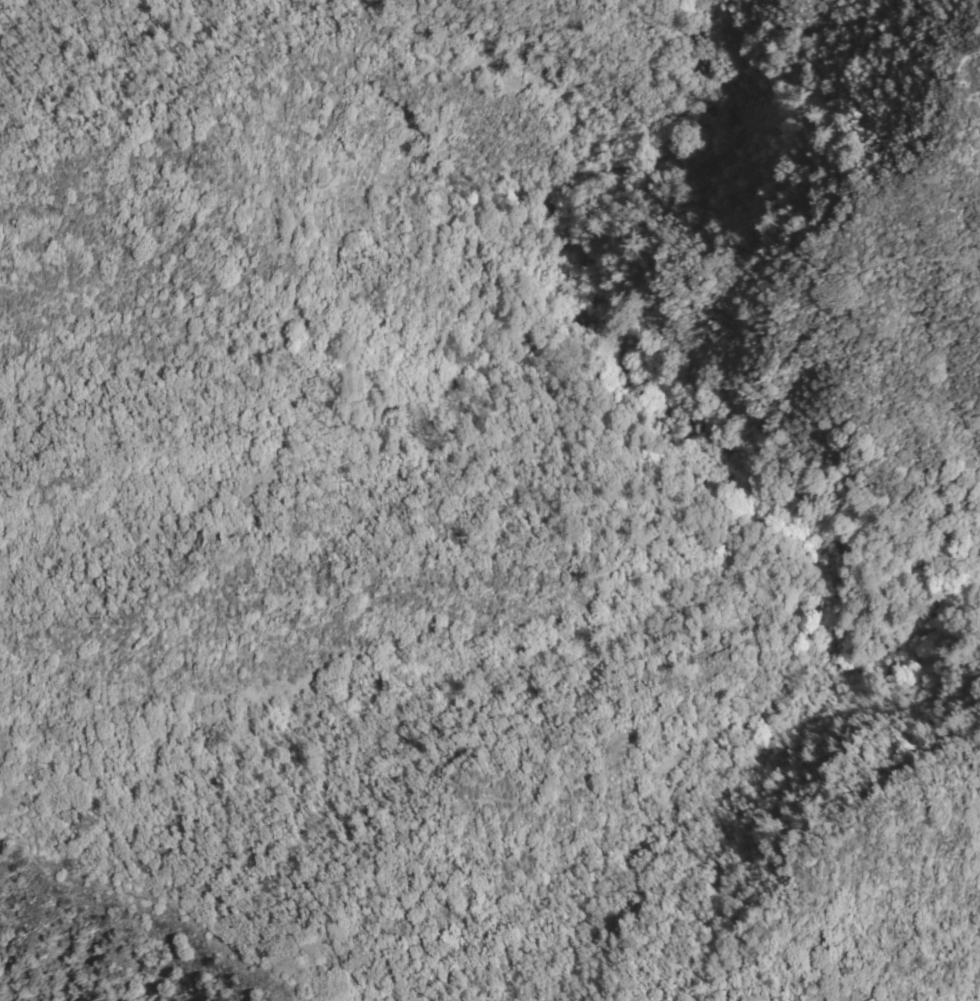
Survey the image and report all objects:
road: (823, 211)

